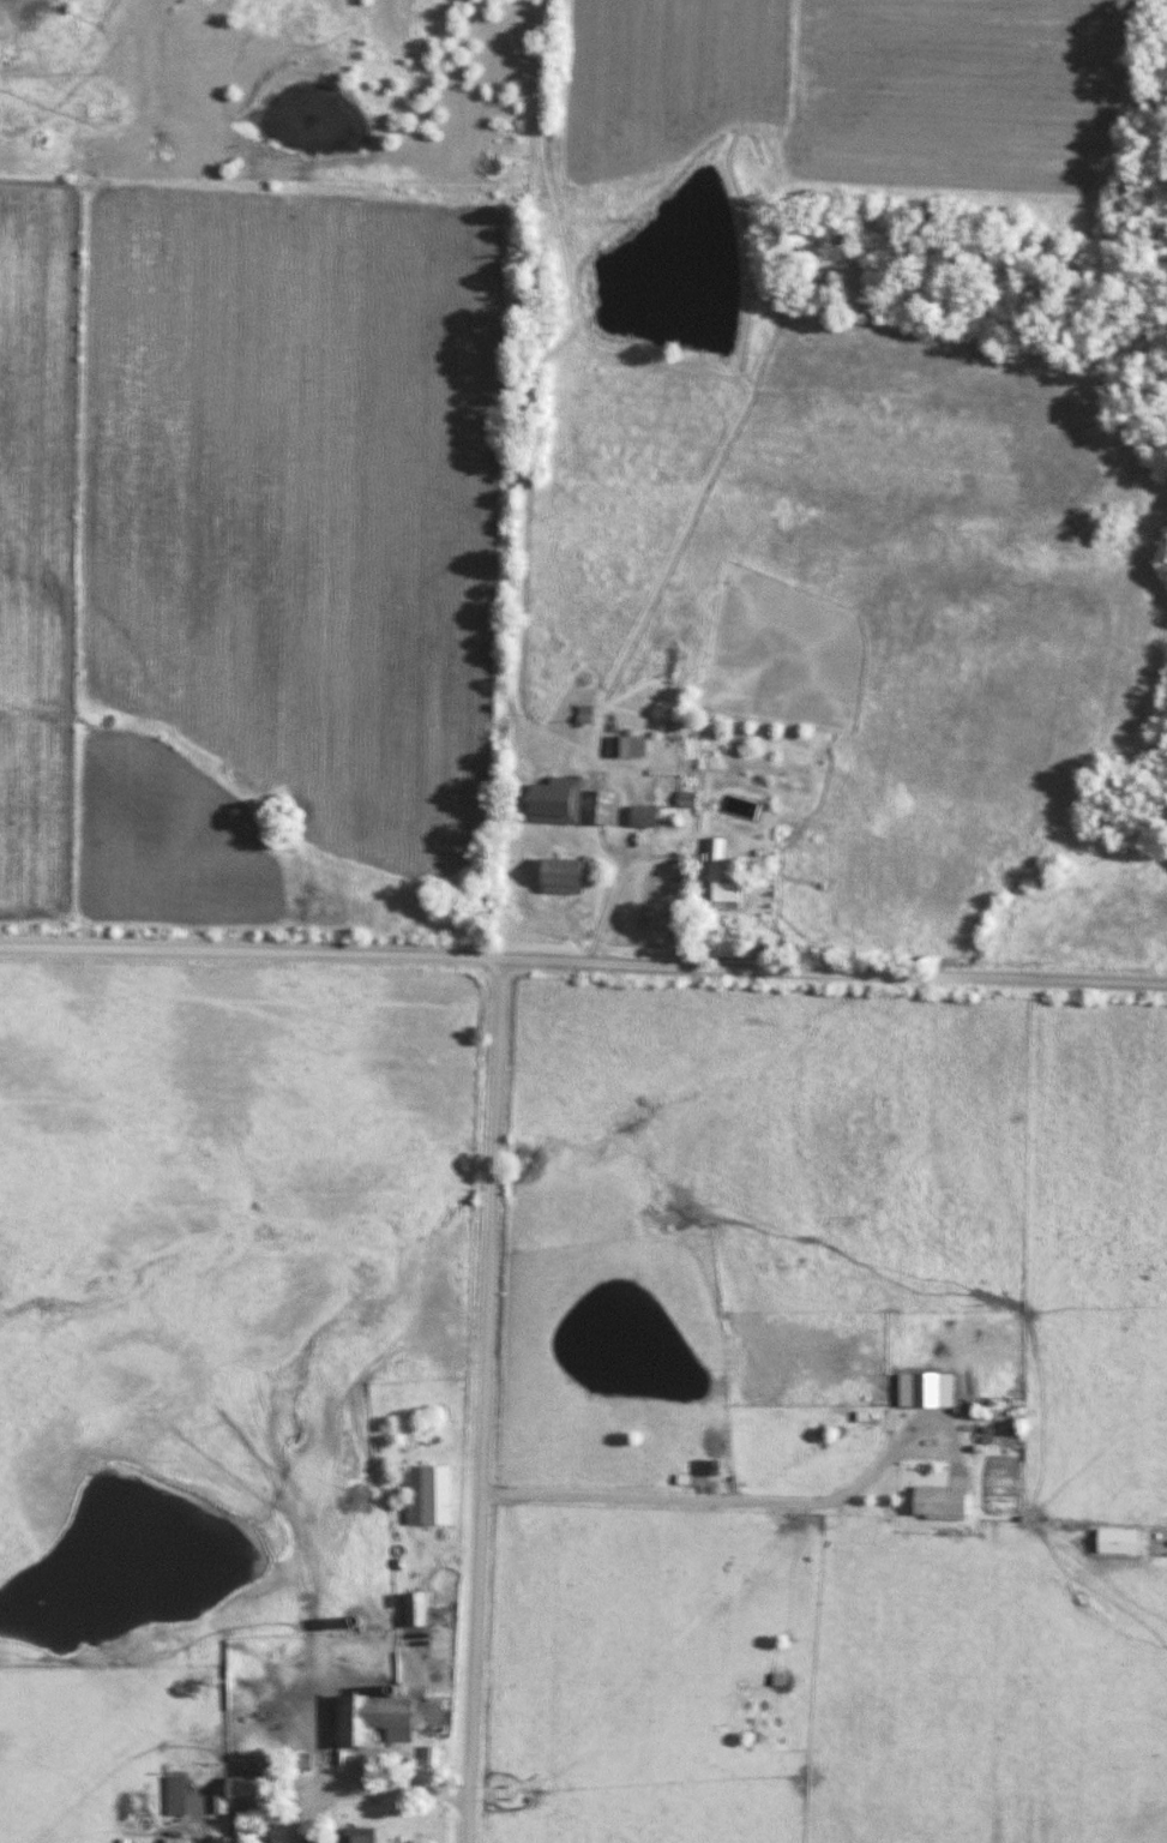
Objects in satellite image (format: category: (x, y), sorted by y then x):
road: (534, 470)
building: (626, 746)
building: (567, 803)
building: (645, 816)
building: (558, 876)
building: (720, 876)
road: (619, 887)
road: (583, 963)
building: (927, 1389)
road: (486, 1401)
building: (431, 1495)
building: (940, 1502)
road: (721, 1503)
building: (416, 1609)
building: (372, 1719)
building: (240, 1791)
road: (366, 1793)
building: (178, 1795)
building: (252, 1829)
building: (359, 1839)
building: (176, 1841)

